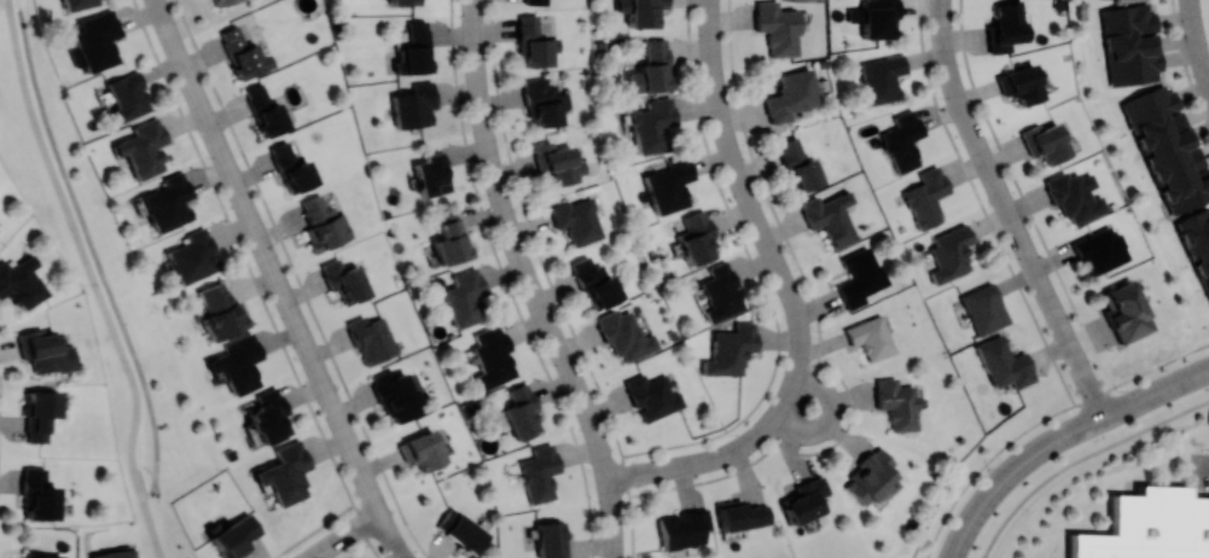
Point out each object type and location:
building: (223, 1)
building: (403, 1)
building: (535, 1)
building: (79, 4)
building: (641, 11)
building: (879, 18)
building: (1005, 27)
building: (775, 28)
road: (1197, 37)
building: (97, 40)
building: (534, 42)
building: (1130, 43)
building: (415, 47)
building: (242, 53)
building: (651, 68)
building: (882, 77)
building: (1021, 83)
building: (127, 95)
building: (544, 101)
building: (414, 105)
building: (265, 110)
building: (651, 124)
building: (902, 140)
building: (1046, 143)
building: (1168, 146)
building: (143, 147)
building: (558, 162)
building: (797, 164)
building: (292, 168)
building: (431, 174)
building: (667, 185)
building: (1075, 194)
building: (926, 197)
building: (167, 202)
road: (751, 202)
road: (1010, 211)
building: (829, 216)
building: (577, 220)
building: (322, 223)
building: (449, 237)
building: (696, 237)
building: (1198, 244)
building: (1100, 249)
building: (951, 254)
building: (192, 255)
road: (268, 256)
building: (859, 277)
road: (95, 278)
building: (344, 279)
building: (21, 281)
road: (533, 281)
building: (595, 281)
building: (720, 290)
building: (464, 297)
building: (983, 308)
building: (220, 309)
building: (1124, 310)
building: (624, 335)
building: (870, 337)
building: (371, 338)
building: (730, 349)
building: (43, 350)
building: (492, 356)
building: (238, 362)
building: (1004, 362)
road: (1208, 370)
building: (396, 395)
building: (652, 395)
building: (896, 403)
building: (521, 412)
building: (39, 413)
building: (268, 415)
road: (831, 418)
road: (1059, 438)
building: (422, 449)
building: (1201, 458)
road: (709, 459)
road: (1208, 464)
parking lot: (1203, 471)
building: (285, 472)
building: (539, 472)
road: (583, 473)
building: (868, 477)
building: (37, 495)
building: (806, 499)
building: (740, 515)
building: (1151, 527)
building: (682, 528)
building: (461, 530)
road: (345, 535)
road: (393, 535)
building: (234, 536)
building: (550, 539)
building: (111, 553)
building: (36, 556)

